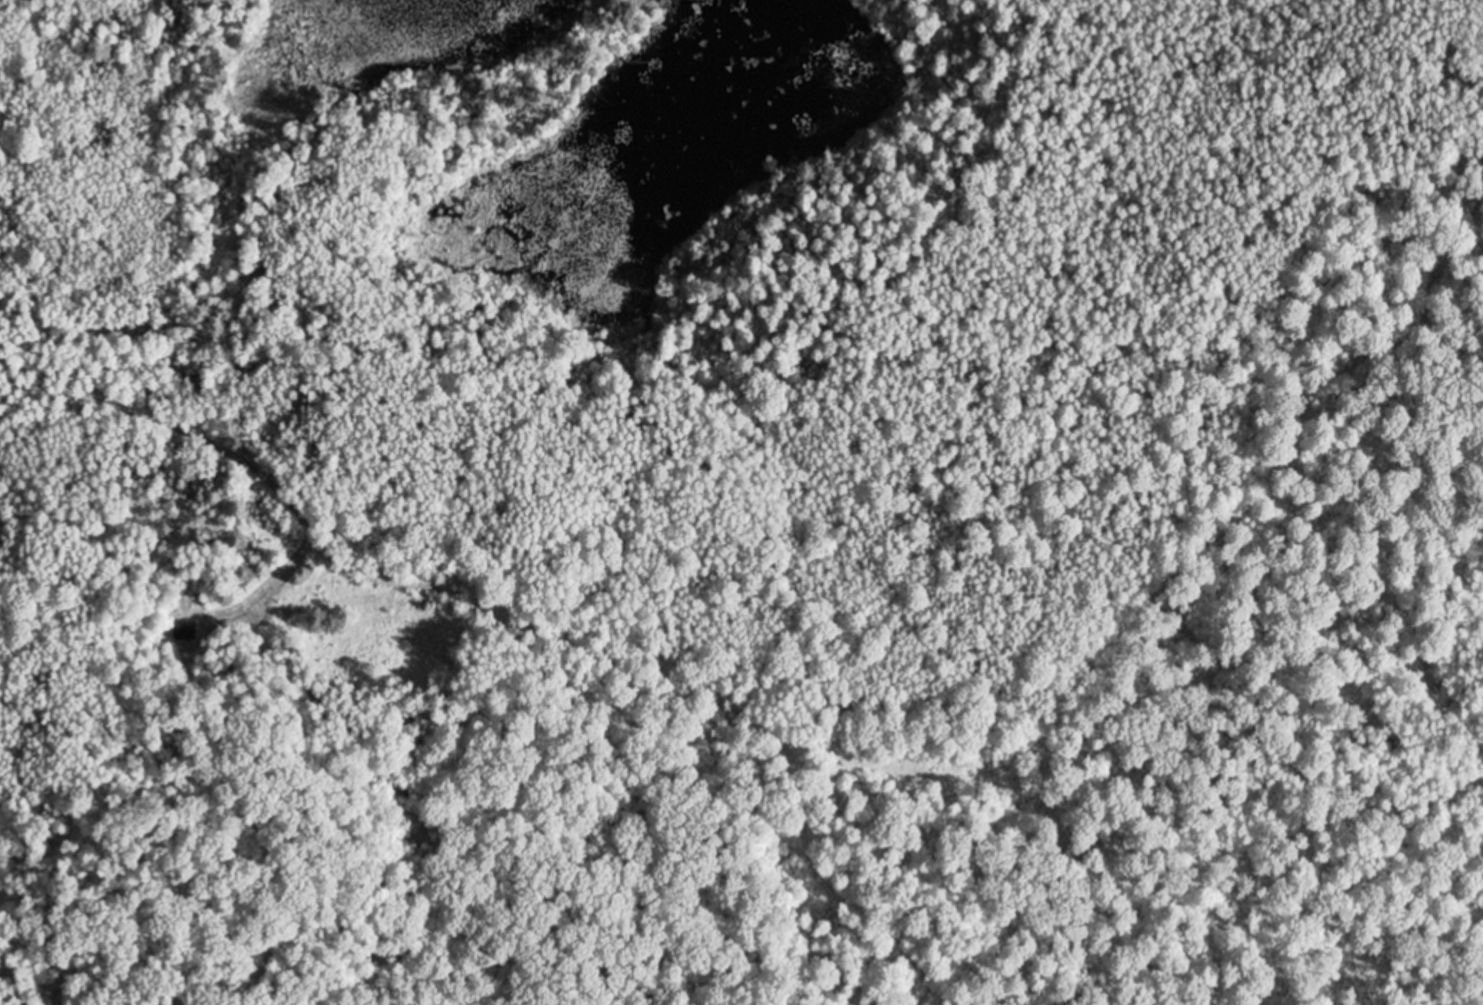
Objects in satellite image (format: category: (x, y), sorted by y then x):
road: (187, 428)

